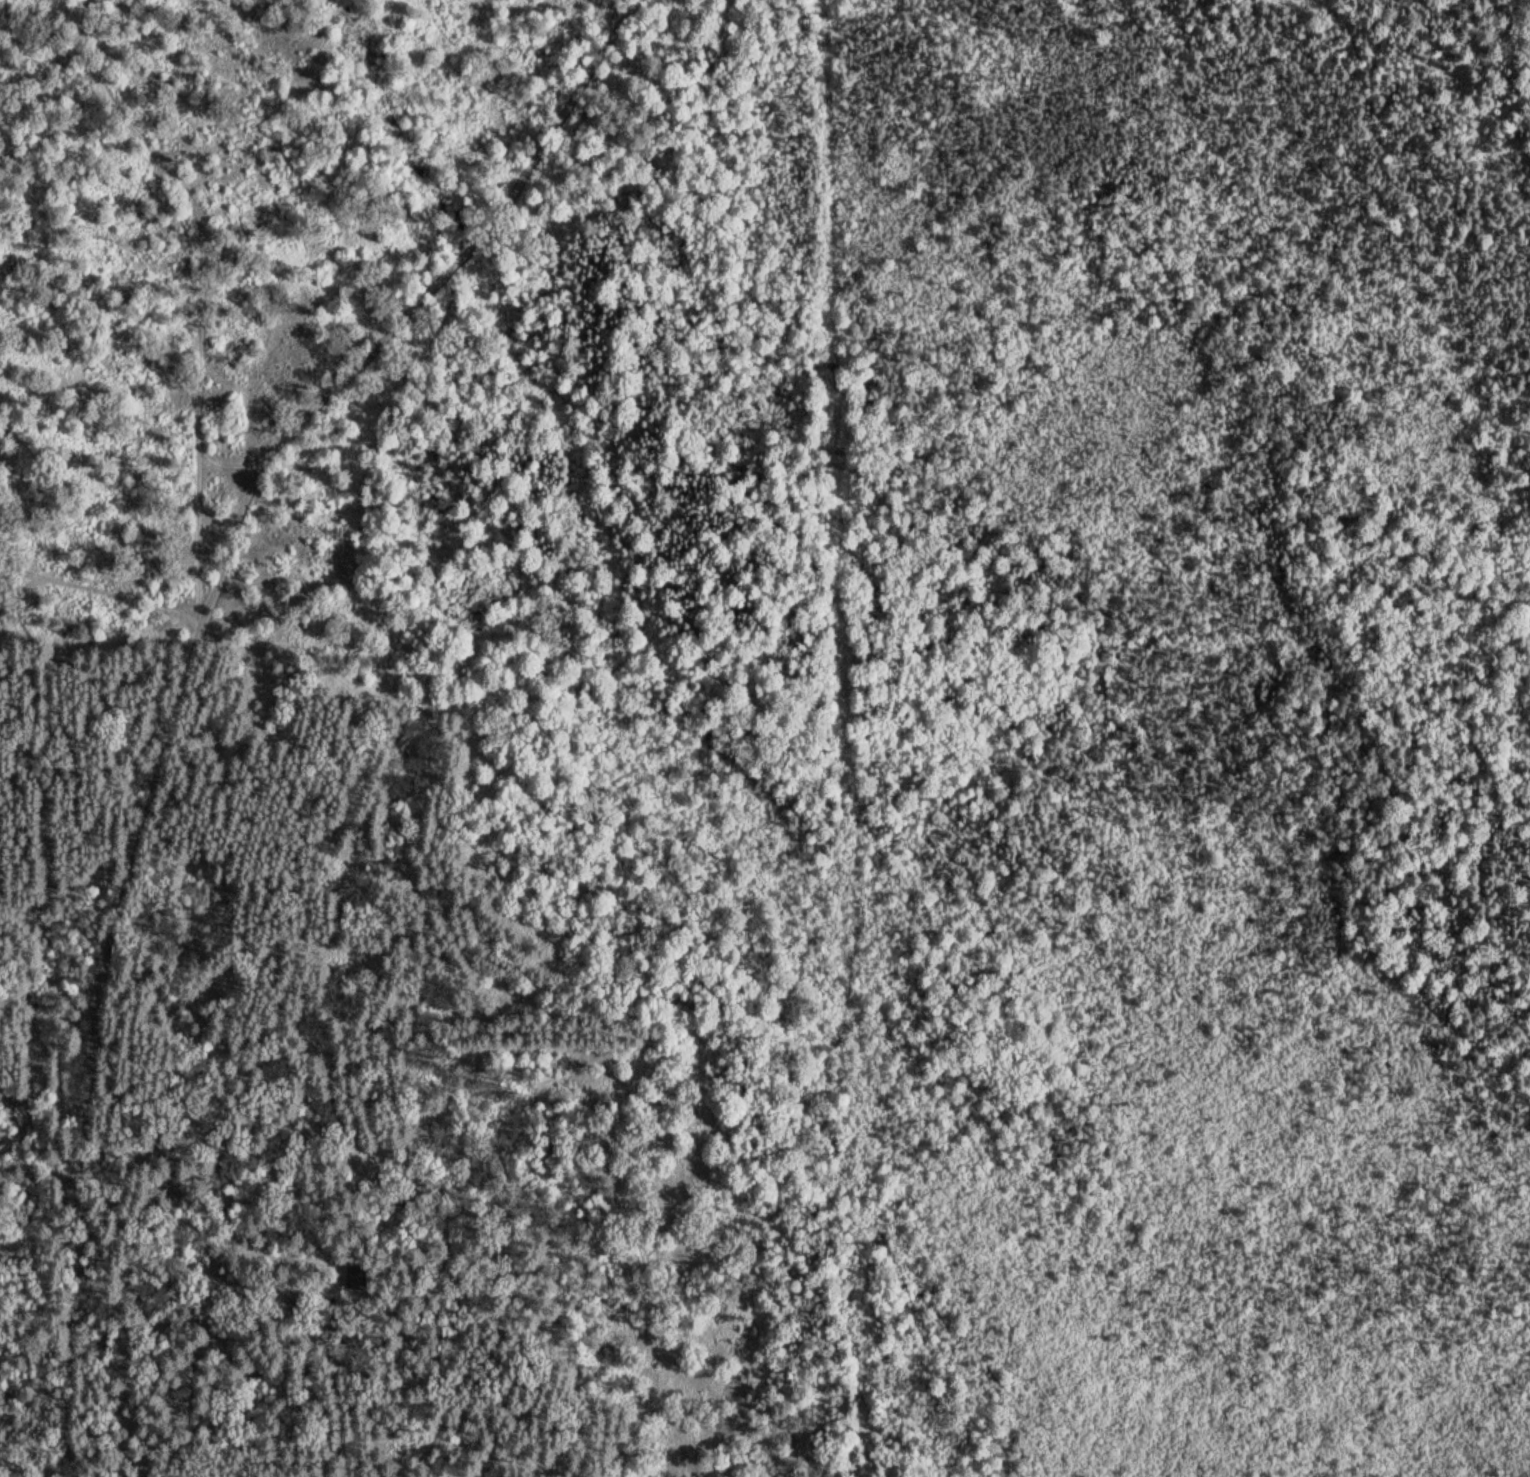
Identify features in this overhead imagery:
road: (202, 290)
road: (190, 669)

